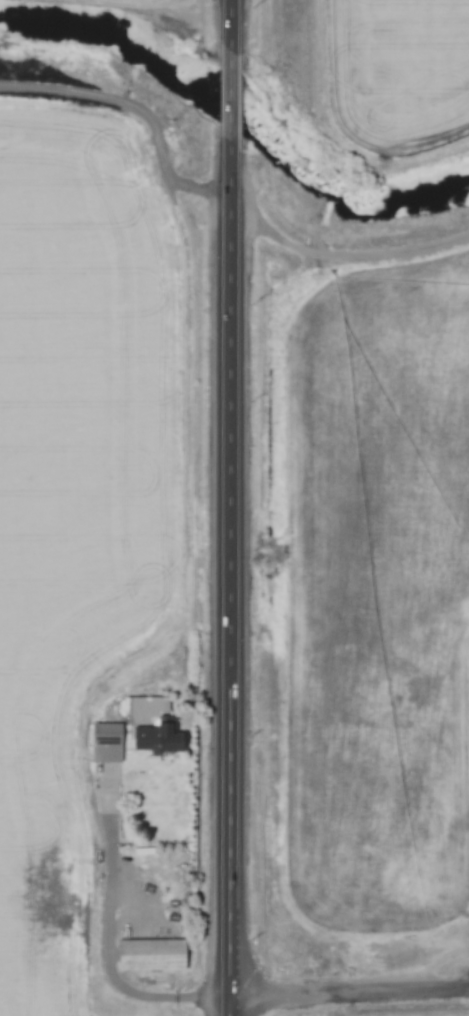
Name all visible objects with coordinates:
road: (228, 508)
building: (149, 727)
building: (104, 743)
building: (148, 955)
road: (104, 960)
road: (348, 994)

